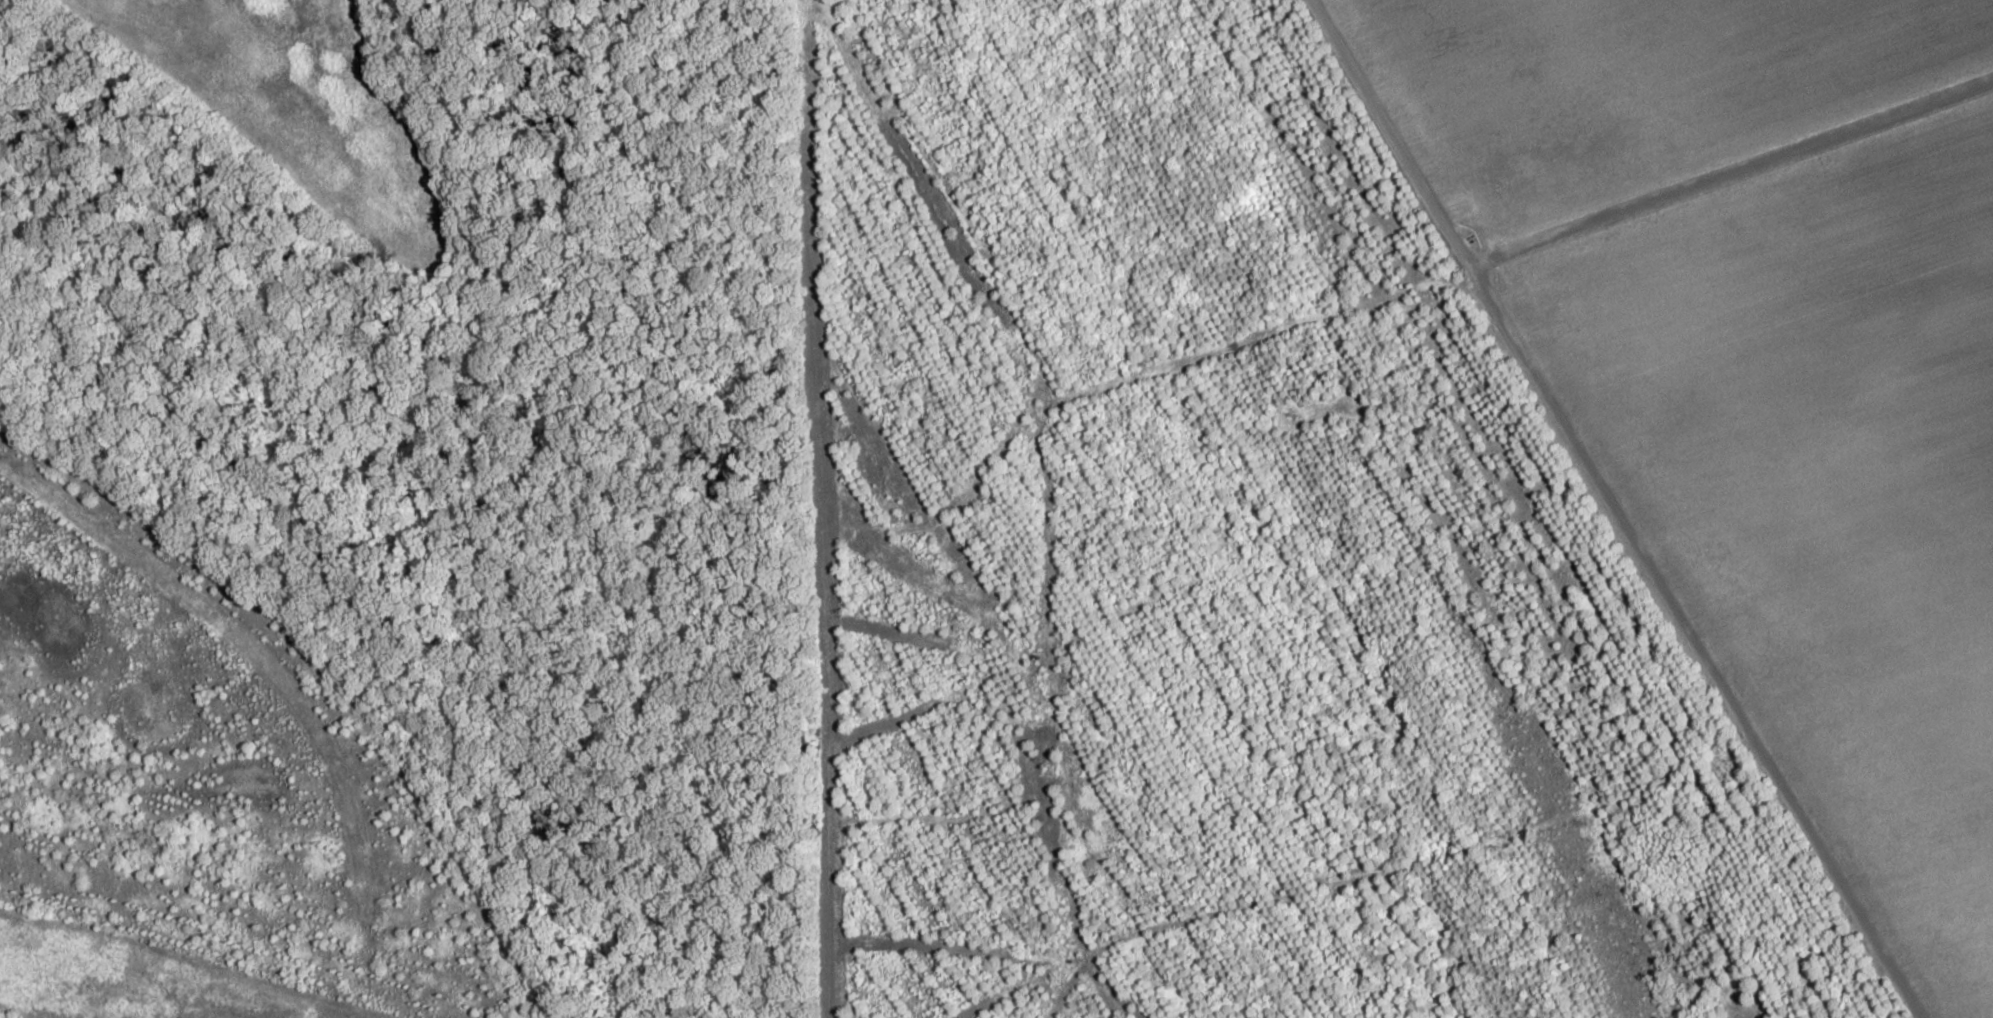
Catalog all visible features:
road: (1730, 173)
road: (807, 509)
road: (1613, 509)

